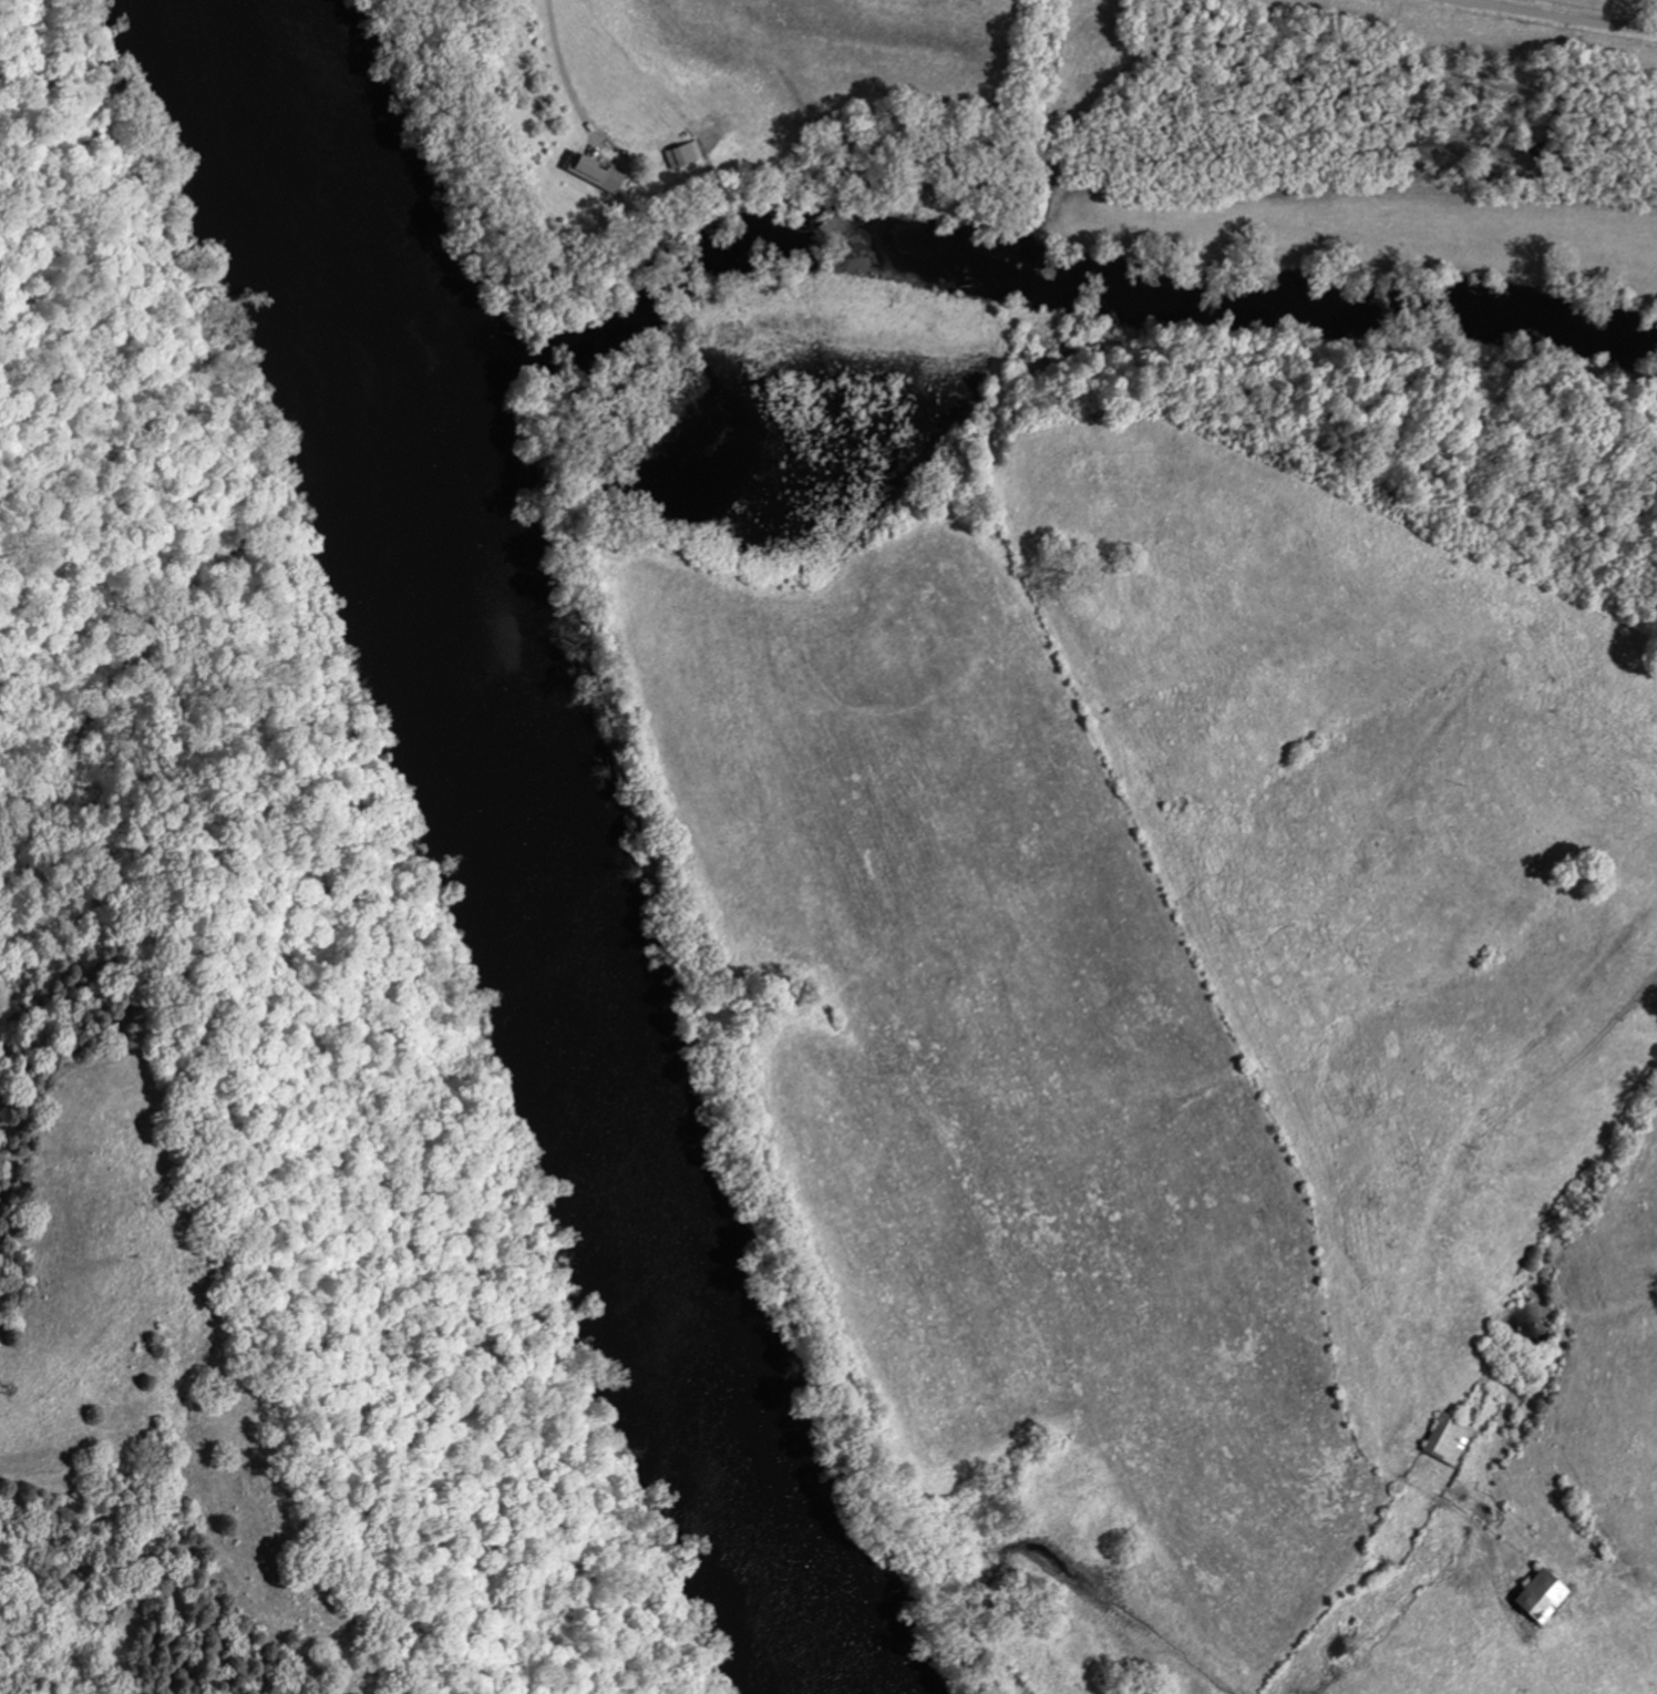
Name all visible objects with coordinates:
road: (1455, 0)
road: (1552, 14)
road: (562, 64)
building: (682, 156)
building: (593, 175)
river: (965, 255)
road: (1182, 850)
river: (513, 854)
building: (1448, 1440)
building: (1542, 1598)

